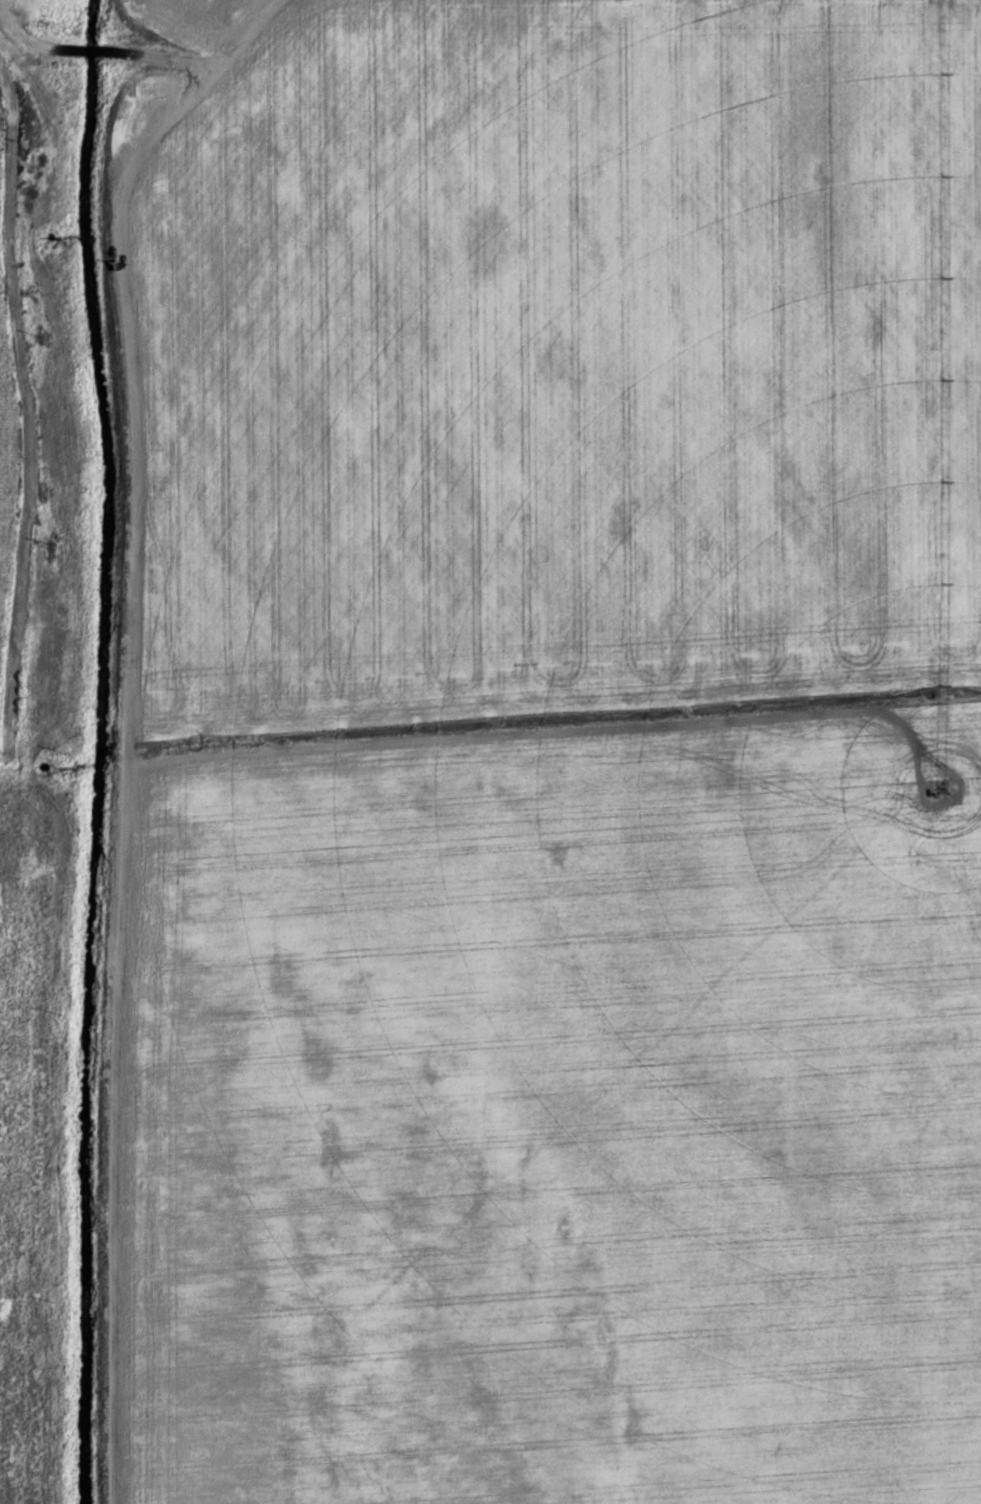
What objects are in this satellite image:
road: (228, 30)
road: (84, 46)
road: (125, 768)

